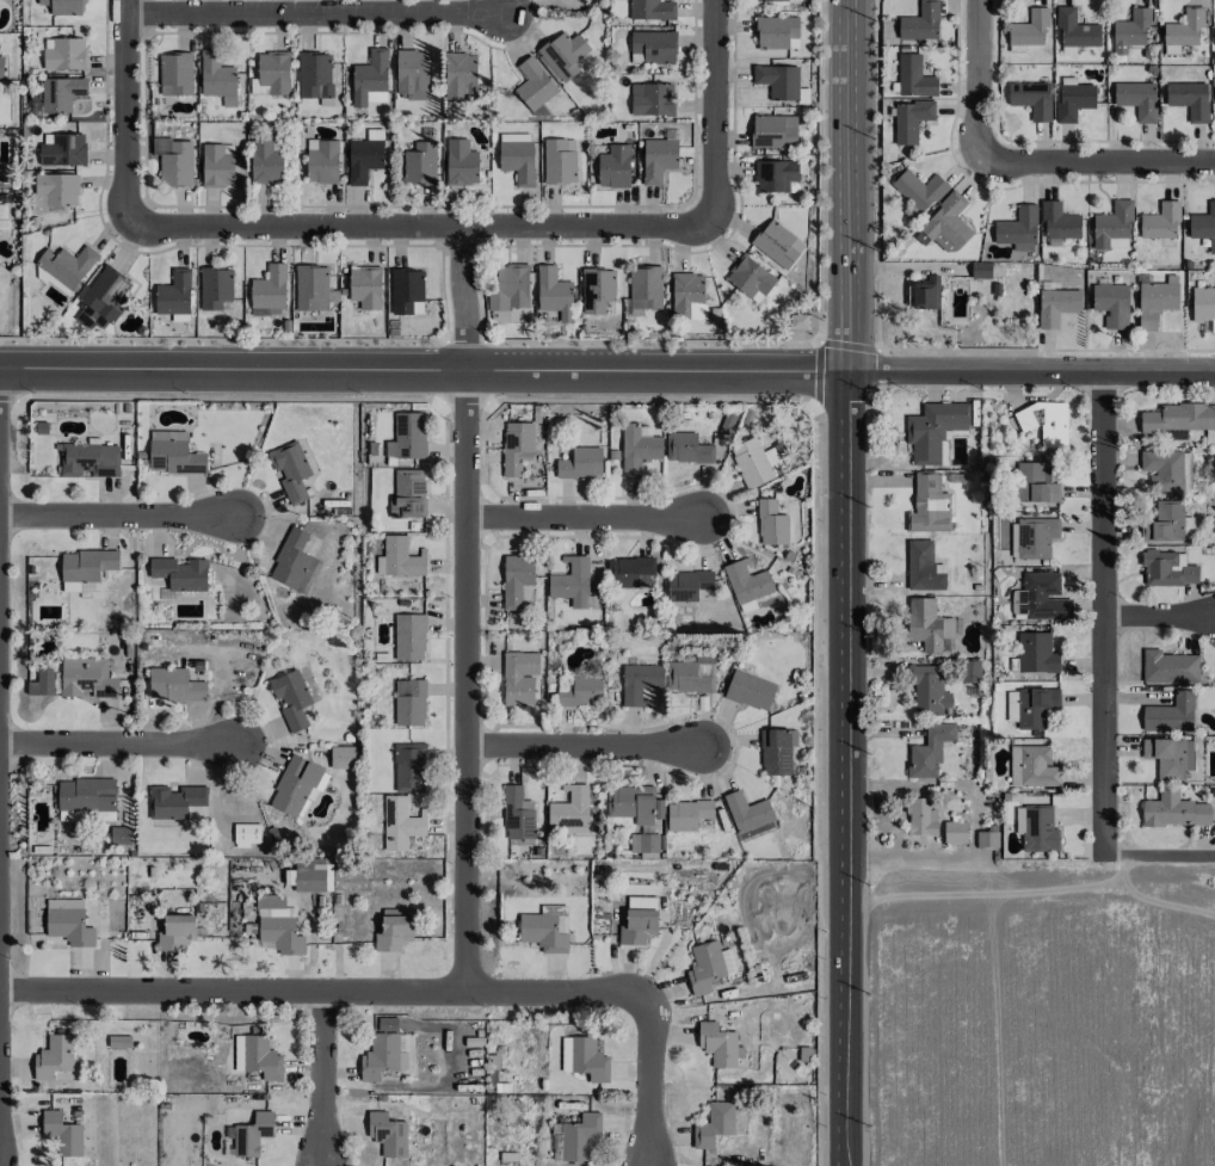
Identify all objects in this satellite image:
building: (775, 0)
building: (62, 6)
building: (652, 10)
road: (313, 14)
building: (920, 23)
building: (1028, 30)
building: (1129, 30)
building: (1074, 31)
building: (1182, 31)
building: (776, 32)
building: (653, 47)
building: (63, 54)
building: (565, 55)
building: (1, 67)
building: (273, 72)
building: (174, 74)
building: (412, 74)
building: (314, 75)
building: (460, 75)
building: (914, 76)
building: (216, 78)
building: (370, 79)
building: (778, 81)
road: (977, 82)
building: (534, 85)
building: (61, 93)
building: (1030, 98)
building: (650, 99)
building: (1072, 99)
building: (1136, 99)
building: (1189, 99)
road: (125, 113)
road: (713, 113)
building: (909, 119)
building: (773, 130)
building: (371, 134)
building: (61, 149)
building: (517, 156)
building: (363, 159)
building: (658, 159)
building: (266, 160)
building: (559, 160)
building: (321, 161)
building: (460, 161)
building: (175, 164)
building: (419, 164)
building: (217, 165)
road: (1096, 165)
building: (613, 167)
building: (776, 175)
road: (850, 186)
building: (57, 190)
building: (918, 190)
building: (1057, 221)
building: (1160, 222)
building: (944, 223)
road: (419, 226)
building: (1203, 226)
building: (1112, 227)
building: (1017, 229)
building: (777, 243)
building: (67, 265)
building: (980, 270)
building: (750, 278)
building: (365, 286)
building: (644, 286)
building: (214, 288)
building: (312, 288)
building: (510, 288)
building: (269, 290)
building: (686, 290)
building: (406, 291)
building: (597, 291)
building: (554, 292)
building: (173, 294)
building: (923, 295)
building: (105, 297)
road: (460, 298)
building: (1154, 303)
building: (1111, 304)
building: (1056, 306)
building: (1203, 308)
road: (424, 370)
road: (1031, 370)
building: (1177, 418)
building: (1044, 422)
building: (933, 430)
building: (407, 437)
building: (516, 446)
building: (686, 448)
building: (639, 450)
building: (173, 454)
building: (90, 459)
building: (581, 463)
building: (755, 463)
building: (290, 469)
building: (1162, 469)
building: (1035, 483)
building: (407, 493)
building: (929, 505)
road: (119, 517)
road: (585, 519)
building: (1162, 522)
building: (771, 523)
building: (1035, 537)
building: (397, 557)
building: (294, 562)
building: (921, 567)
building: (1167, 568)
building: (85, 569)
building: (628, 572)
building: (180, 573)
building: (516, 580)
building: (573, 584)
building: (686, 585)
building: (746, 586)
building: (1041, 598)
road: (1102, 613)
road: (1159, 616)
building: (924, 627)
building: (409, 637)
building: (1035, 653)
building: (1168, 667)
building: (690, 675)
building: (86, 677)
building: (519, 678)
building: (44, 680)
building: (639, 683)
road: (465, 684)
building: (174, 685)
building: (31, 687)
building: (750, 690)
building: (929, 691)
building: (581, 692)
building: (291, 698)
building: (409, 702)
building: (1034, 707)
building: (1170, 714)
road: (118, 745)
road: (582, 747)
building: (775, 752)
building: (930, 752)
building: (341, 757)
building: (1170, 757)
building: (1032, 766)
building: (409, 767)
road: (844, 769)
building: (296, 786)
building: (85, 795)
building: (174, 801)
building: (630, 803)
building: (569, 810)
building: (1173, 810)
building: (517, 814)
building: (686, 814)
building: (750, 815)
building: (920, 818)
road: (900, 819)
building: (400, 823)
building: (1035, 825)
building: (954, 832)
building: (246, 834)
building: (115, 835)
building: (986, 839)
building: (643, 843)
road: (1158, 856)
building: (312, 875)
building: (63, 902)
building: (639, 920)
building: (278, 925)
building: (69, 926)
building: (394, 930)
building: (175, 932)
building: (543, 932)
building: (708, 967)
road: (411, 995)
building: (387, 1024)
building: (118, 1041)
building: (718, 1044)
building: (383, 1055)
building: (53, 1057)
building: (261, 1057)
building: (585, 1057)
road: (322, 1080)
building: (714, 1124)
building: (62, 1133)
building: (254, 1134)
building: (387, 1134)
building: (580, 1136)
building: (556, 1141)

